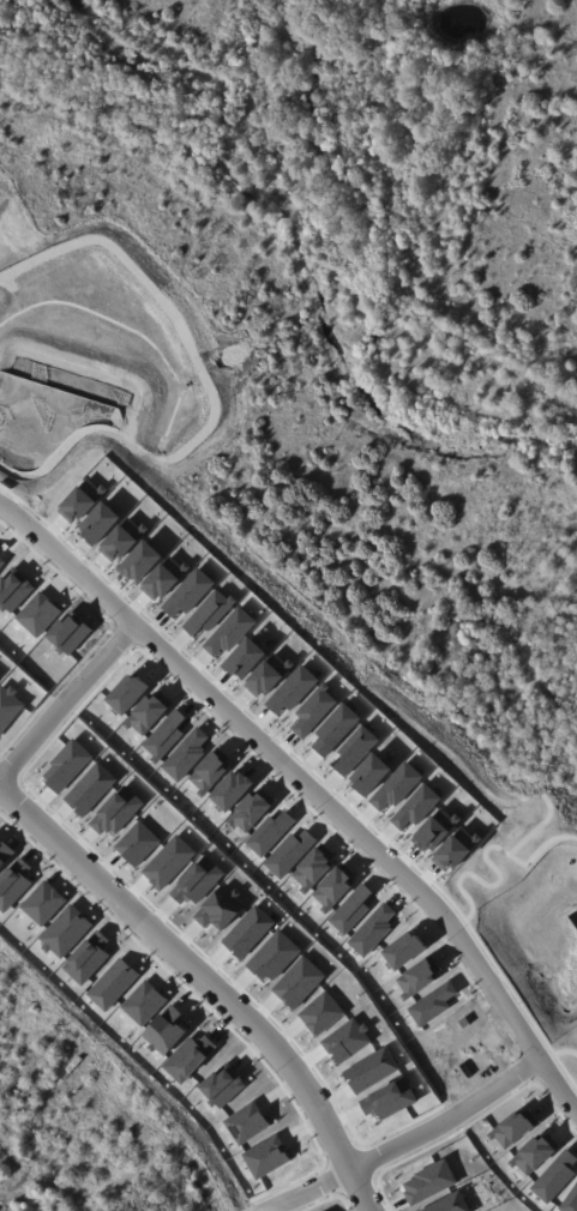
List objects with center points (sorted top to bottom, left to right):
road: (70, 703)
road: (309, 779)
road: (212, 972)
building: (79, 1070)
road: (410, 1139)

